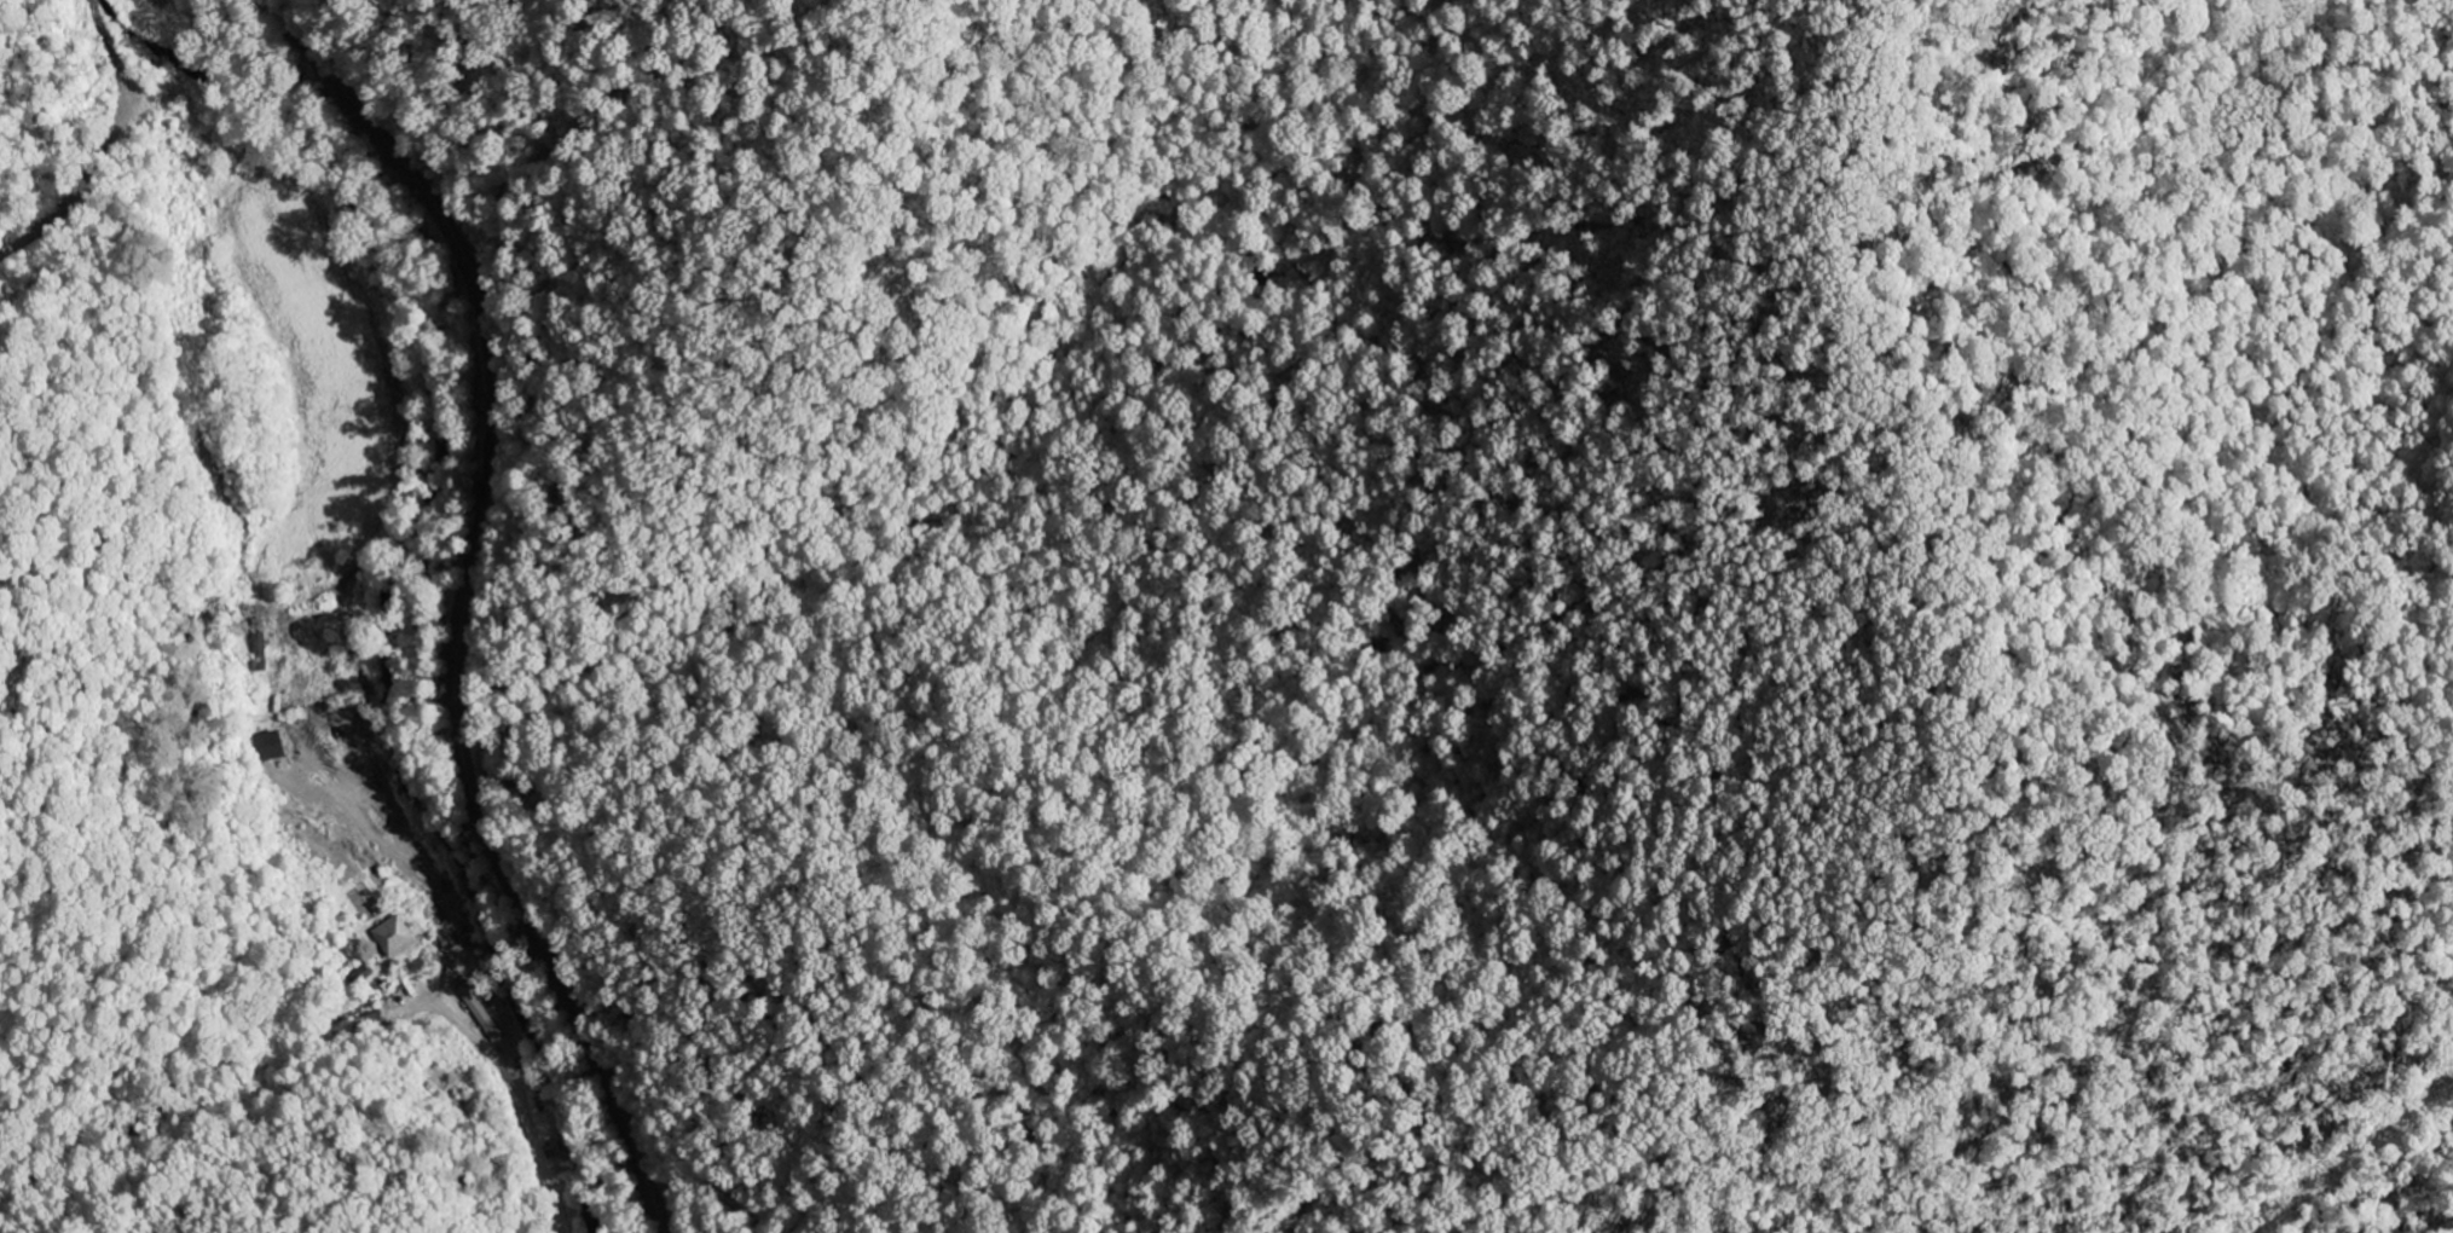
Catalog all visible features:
road: (467, 603)
building: (272, 746)
building: (393, 937)
building: (480, 1017)
road: (503, 1096)

